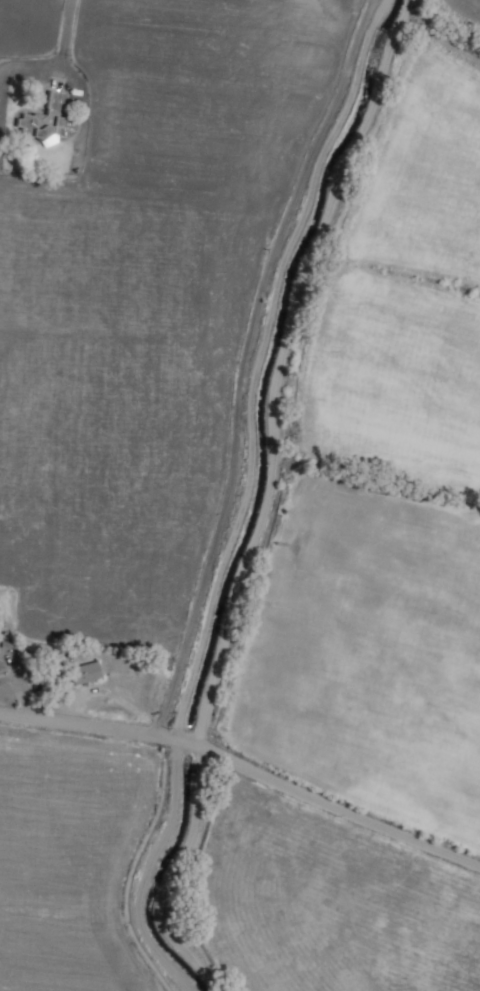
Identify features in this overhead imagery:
building: (47, 123)
road: (247, 361)
building: (85, 672)
building: (3, 674)
road: (246, 766)

